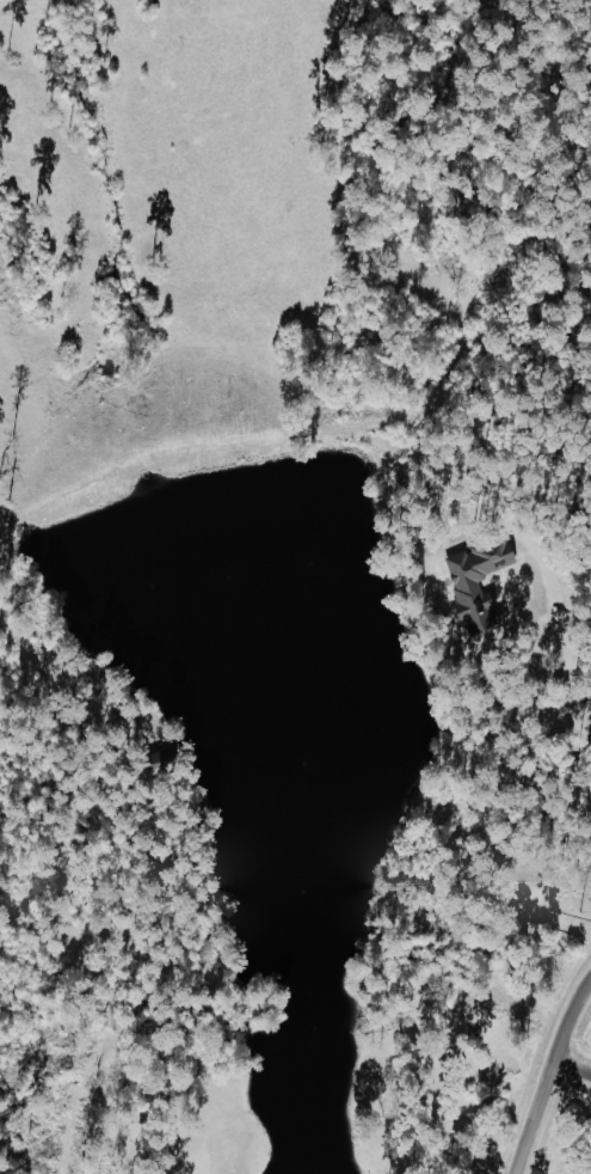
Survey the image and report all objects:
road: (18, 1)
road: (580, 1052)
road: (556, 1086)

